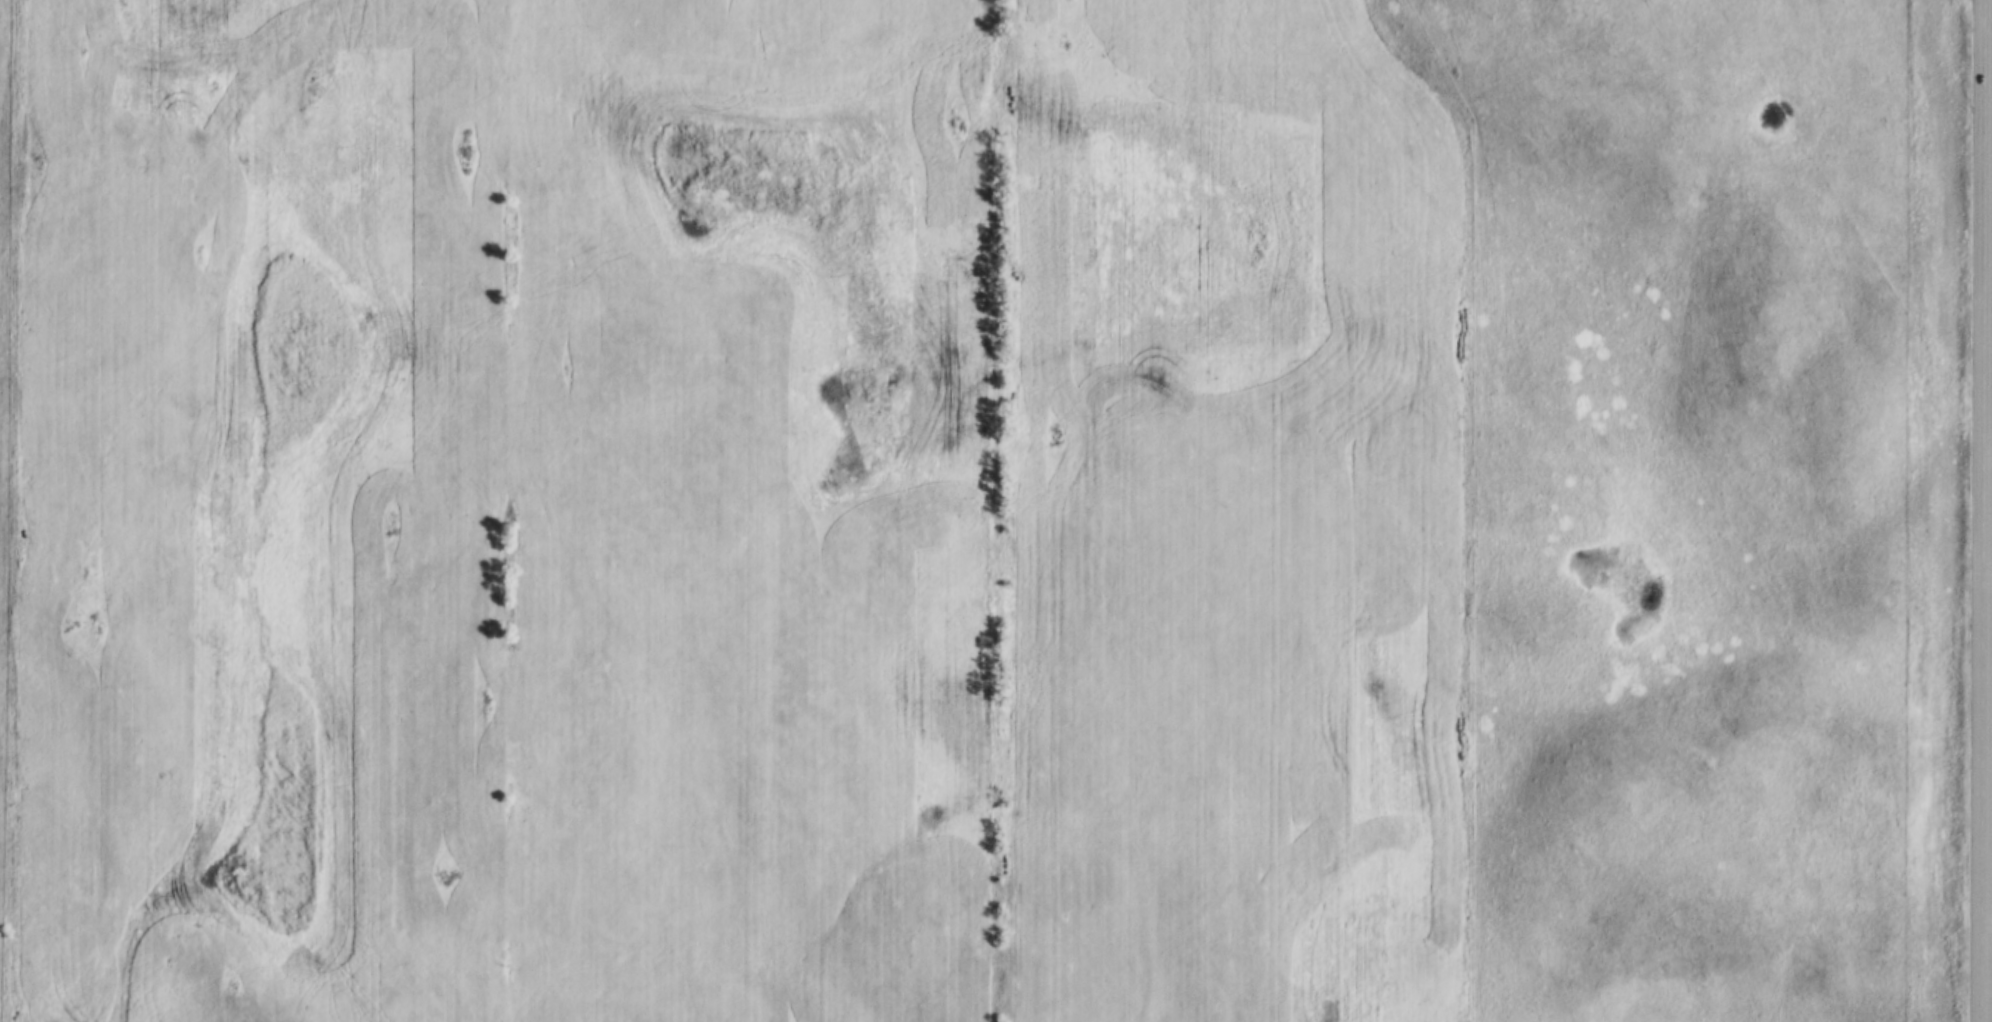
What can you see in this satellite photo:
road: (1983, 510)

